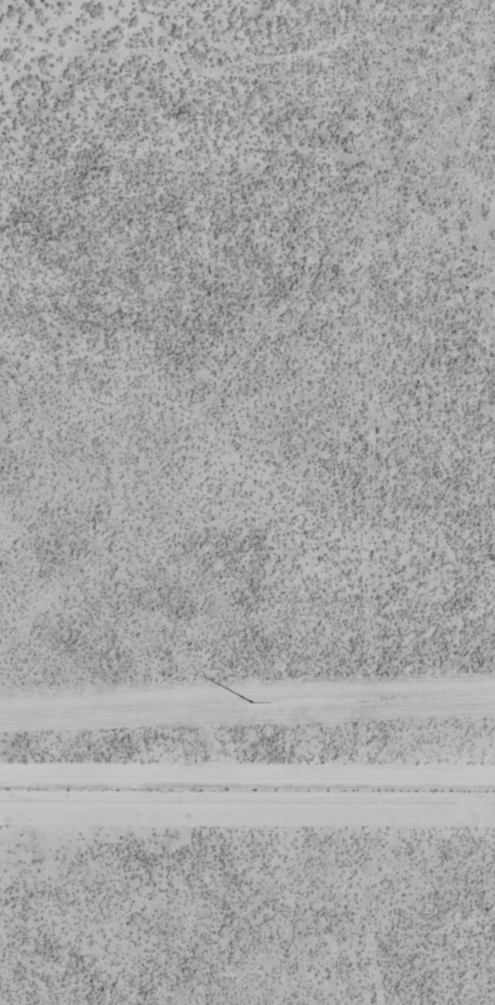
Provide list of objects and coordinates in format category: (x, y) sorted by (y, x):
power tower: (254, 703)
road: (247, 785)

